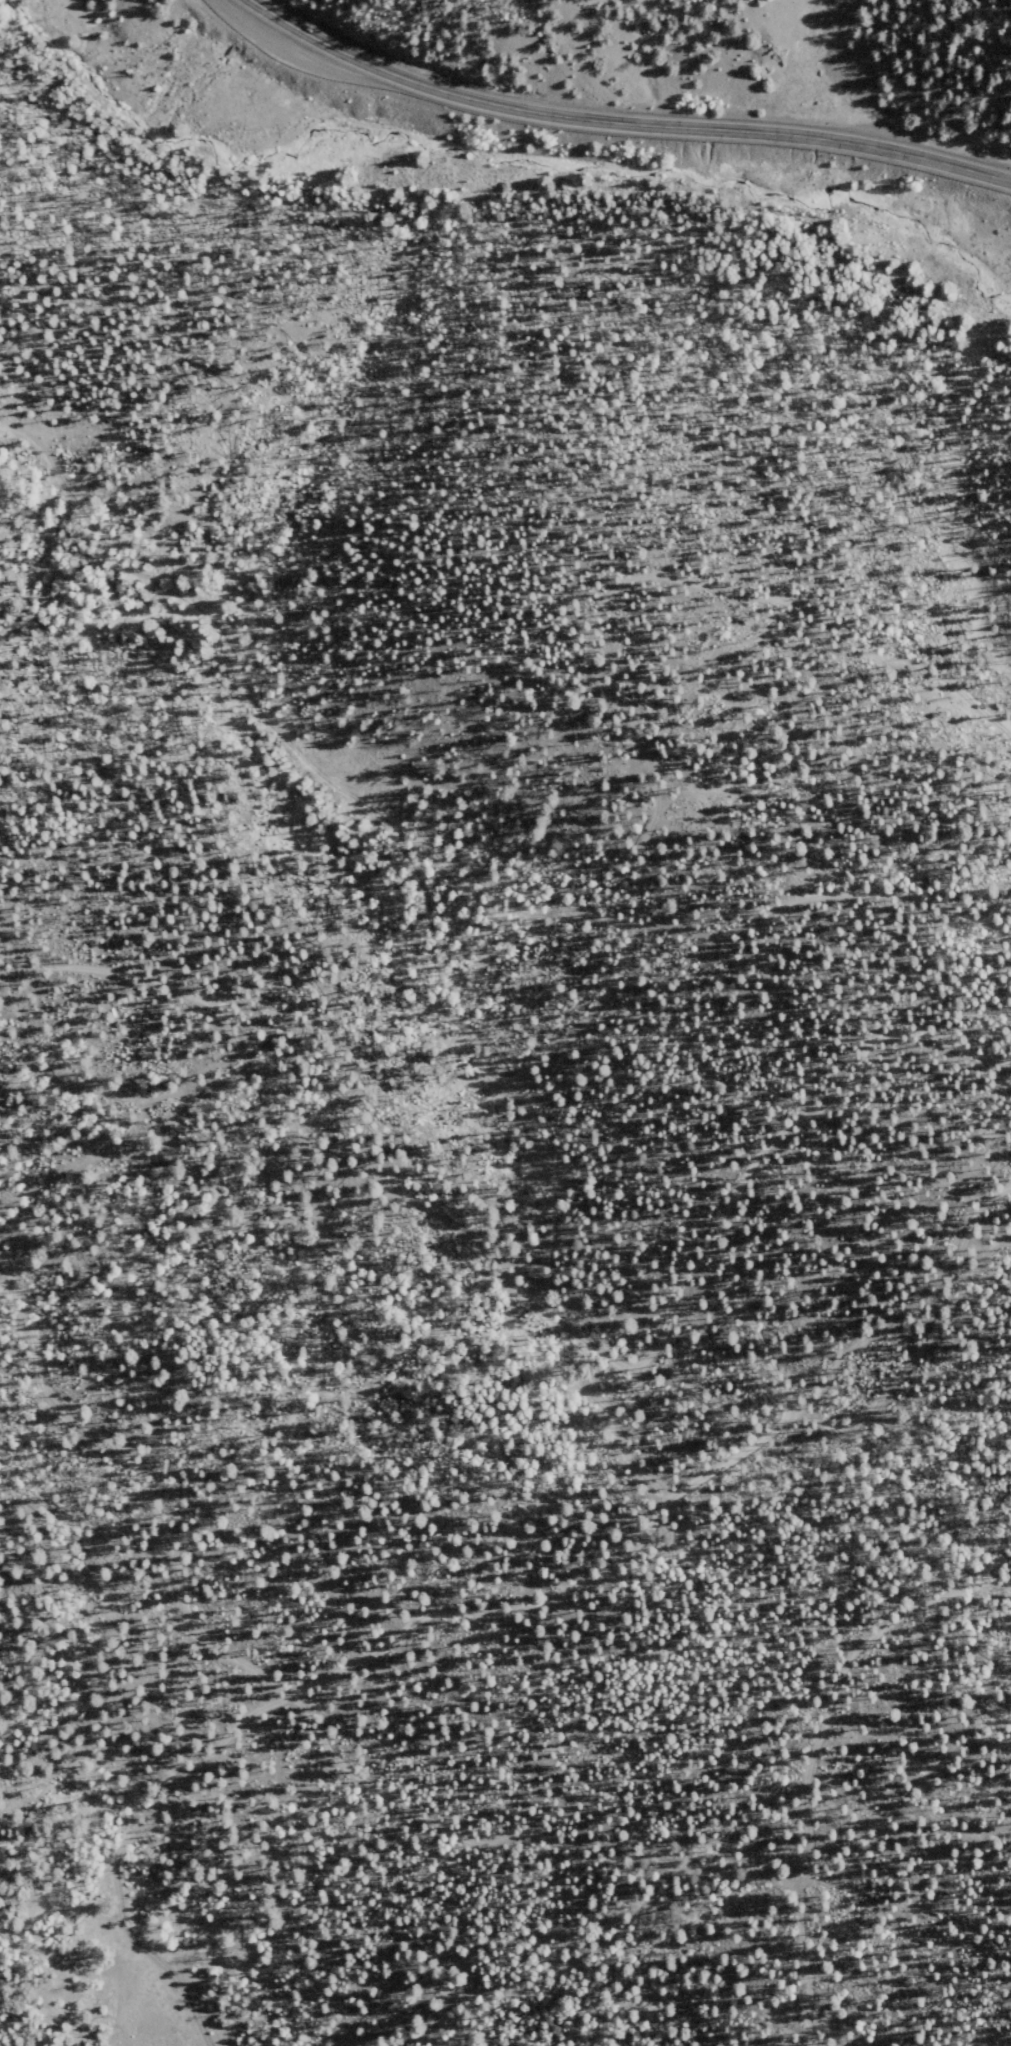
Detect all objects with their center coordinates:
road: (622, 122)
road: (8, 429)
road: (709, 939)
road: (789, 1022)
road: (579, 1027)
road: (36, 1041)
park: (512, 1130)
road: (788, 1133)
road: (391, 1173)
road: (992, 1222)
road: (861, 1330)
road: (325, 1446)
road: (524, 1603)
road: (499, 1833)
road: (906, 1885)
road: (800, 1990)

